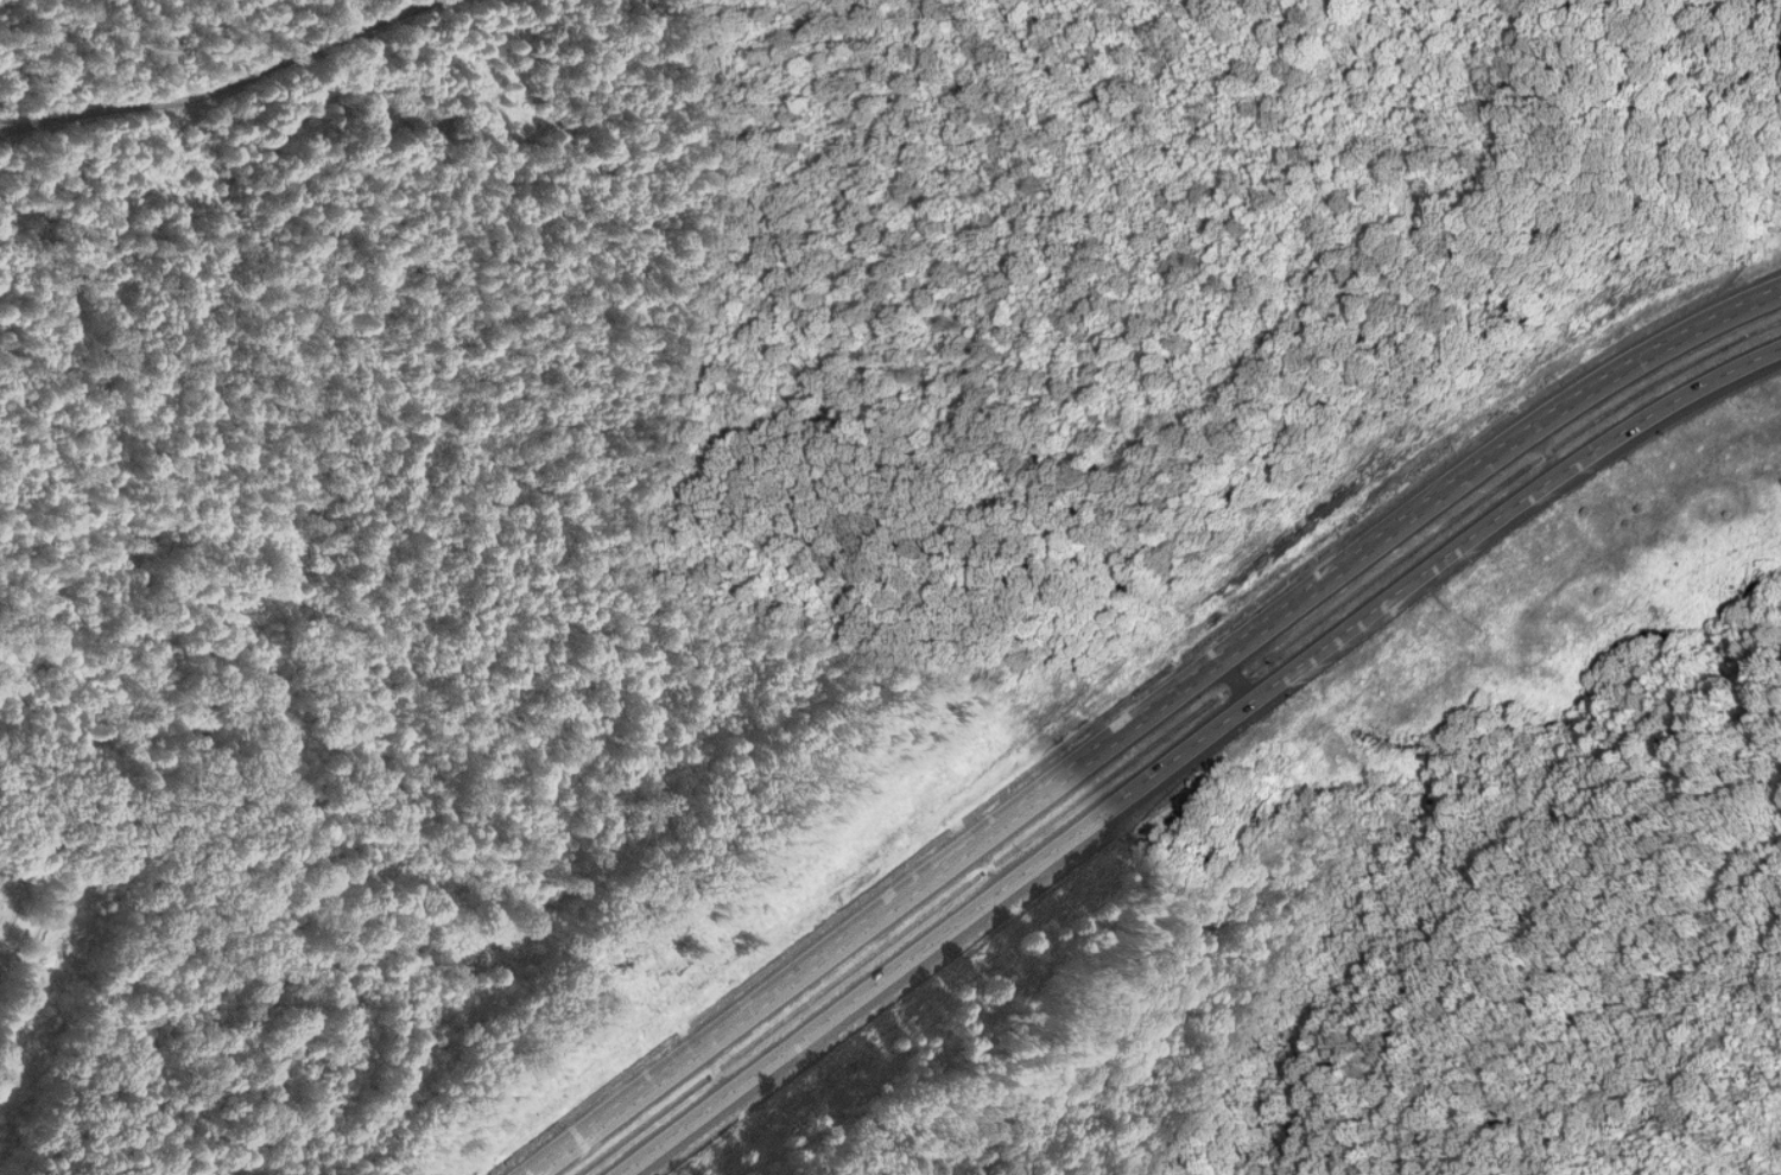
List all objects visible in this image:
road: (222, 83)
road: (1141, 713)
road: (1192, 745)

